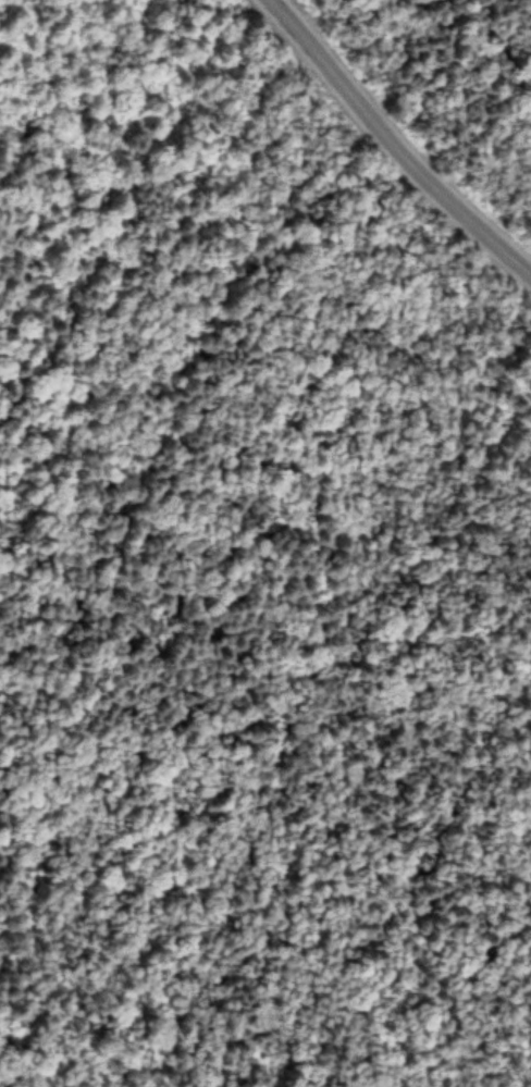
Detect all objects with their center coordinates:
road: (395, 144)

